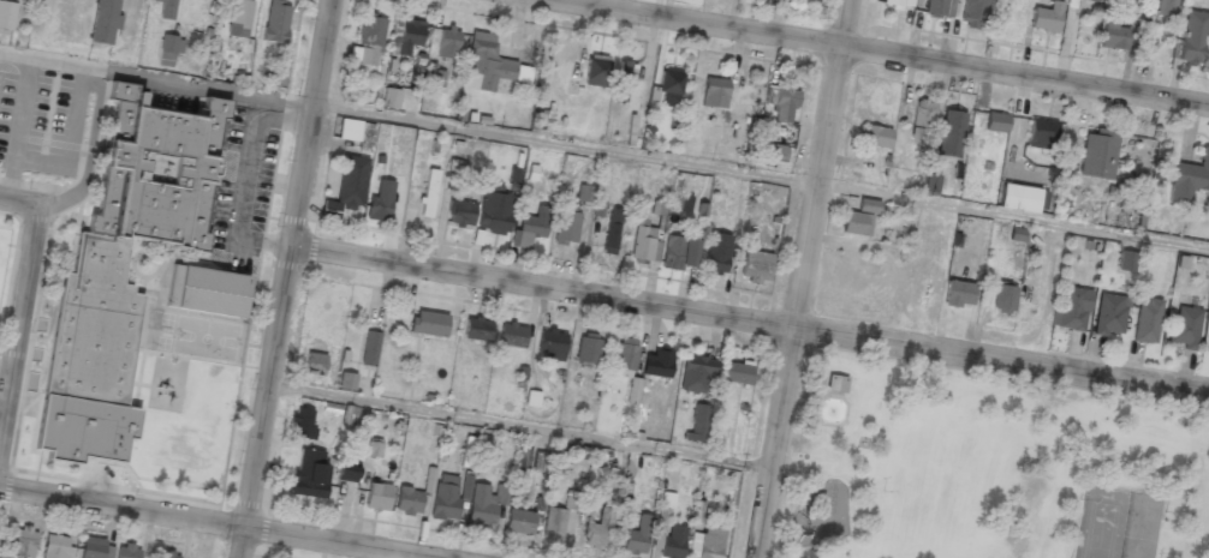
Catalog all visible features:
building: (1094, 0)
building: (895, 2)
building: (1165, 6)
building: (935, 7)
building: (167, 8)
building: (972, 13)
building: (6, 14)
building: (1046, 17)
building: (239, 18)
building: (103, 20)
building: (275, 22)
building: (1113, 35)
building: (1192, 36)
building: (410, 37)
building: (369, 38)
building: (447, 41)
building: (169, 48)
road: (892, 54)
building: (490, 62)
building: (389, 65)
building: (596, 70)
building: (620, 80)
building: (669, 85)
building: (714, 92)
building: (391, 97)
building: (784, 103)
building: (923, 113)
building: (995, 122)
building: (349, 130)
building: (916, 132)
building: (949, 133)
building: (1042, 133)
building: (875, 136)
road: (604, 149)
building: (773, 152)
building: (1097, 154)
building: (1189, 179)
building: (352, 181)
building: (428, 192)
building: (1020, 198)
building: (379, 199)
building: (590, 199)
building: (868, 205)
building: (458, 210)
building: (494, 212)
building: (856, 223)
building: (529, 224)
building: (564, 227)
building: (612, 230)
building: (645, 241)
building: (675, 252)
building: (715, 253)
building: (1125, 260)
building: (755, 265)
building: (121, 269)
road: (288, 278)
road: (803, 278)
building: (207, 292)
building: (958, 293)
building: (1002, 299)
building: (1071, 308)
building: (1109, 313)
road: (23, 314)
road: (751, 320)
building: (1145, 320)
building: (428, 323)
building: (1184, 325)
building: (477, 329)
building: (511, 335)
building: (550, 344)
building: (1208, 346)
building: (370, 348)
building: (588, 348)
building: (625, 353)
building: (314, 364)
building: (657, 364)
building: (735, 372)
building: (696, 373)
building: (346, 380)
building: (834, 382)
building: (697, 422)
building: (303, 424)
road: (523, 426)
building: (373, 448)
building: (466, 451)
building: (522, 460)
building: (540, 461)
park: (982, 464)
building: (346, 473)
building: (308, 474)
building: (428, 480)
building: (465, 487)
building: (377, 497)
building: (445, 498)
building: (407, 500)
building: (572, 500)
building: (486, 503)
building: (519, 521)
road: (216, 522)
building: (553, 522)
park: (1116, 523)
building: (598, 529)
building: (637, 536)
building: (23, 542)
building: (672, 542)
building: (705, 544)
building: (56, 547)
building: (96, 548)
building: (126, 551)
building: (166, 554)

